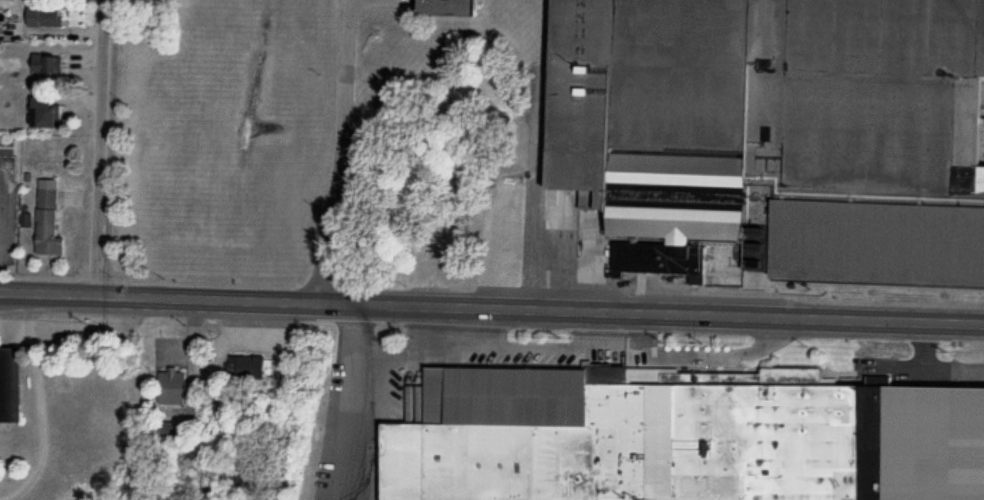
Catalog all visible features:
building: (452, 8)
building: (50, 18)
building: (44, 64)
building: (45, 114)
building: (770, 136)
building: (8, 149)
road: (99, 150)
road: (341, 154)
building: (49, 221)
road: (47, 297)
road: (206, 303)
road: (650, 314)
building: (250, 369)
building: (173, 389)
building: (348, 389)
road: (896, 410)
building: (628, 437)

